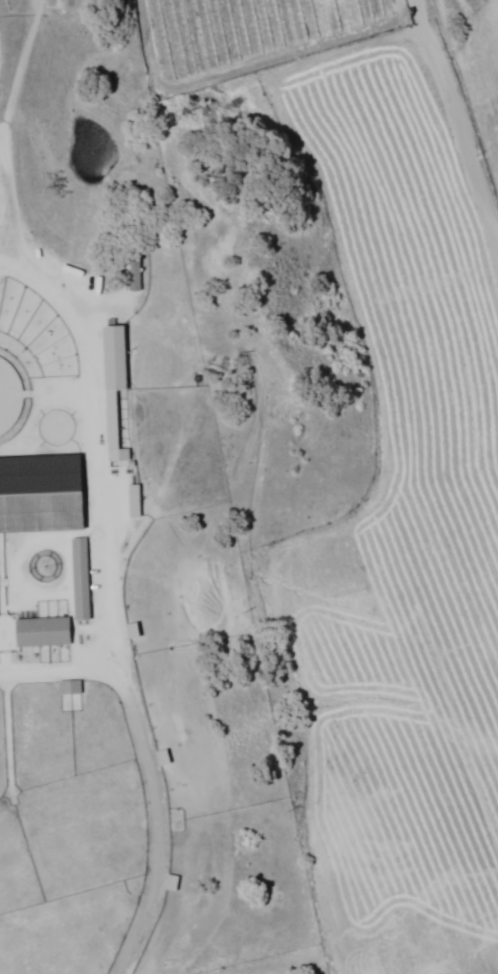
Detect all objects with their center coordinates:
road: (458, 119)
building: (130, 276)
building: (113, 386)
crop: (393, 470)
building: (40, 493)
building: (133, 500)
building: (79, 578)
building: (42, 631)
building: (70, 691)

